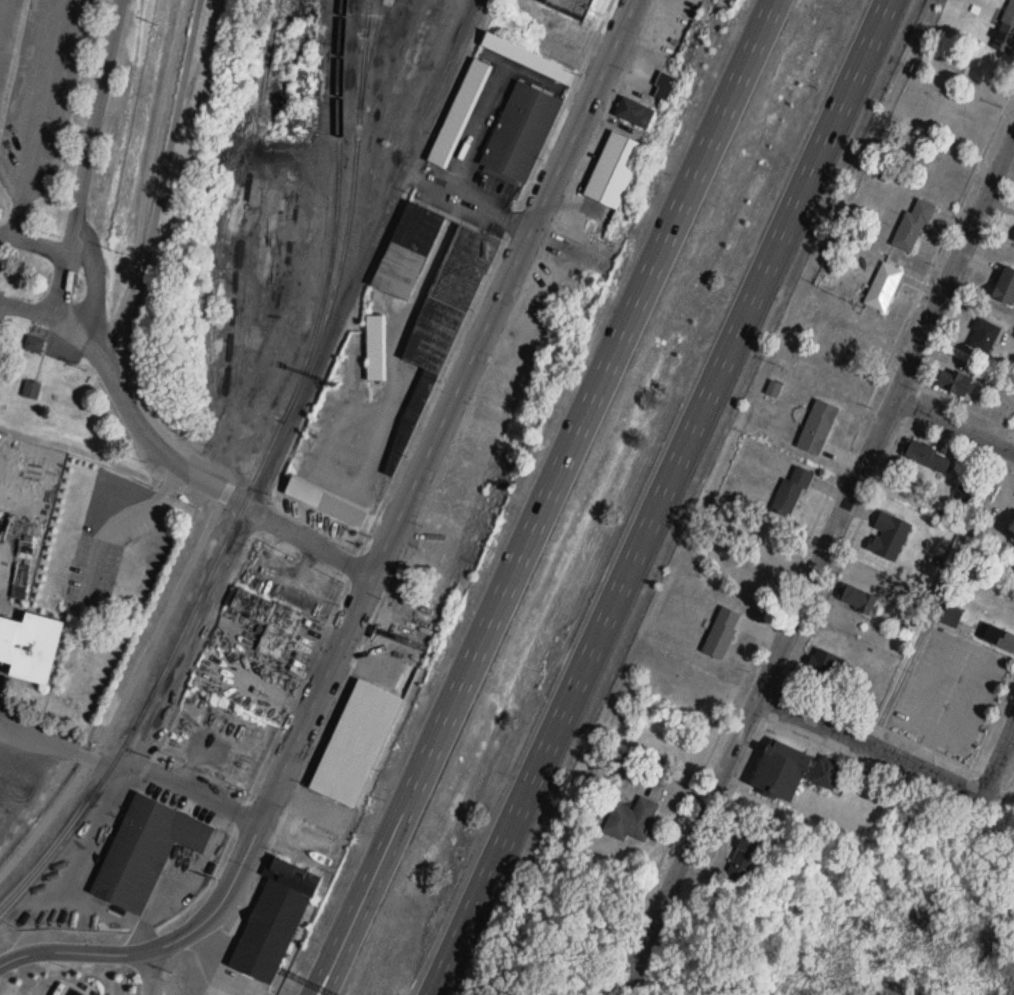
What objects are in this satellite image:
building: (712, 1)
building: (570, 7)
railway: (369, 8)
building: (1006, 30)
railway: (366, 36)
railway: (372, 36)
parking lot: (37, 98)
building: (635, 112)
building: (524, 113)
building: (459, 114)
road: (36, 117)
road: (85, 155)
building: (613, 167)
road: (468, 201)
building: (913, 222)
railway: (348, 239)
building: (1013, 240)
building: (407, 251)
road: (141, 272)
road: (62, 281)
building: (884, 284)
building: (1004, 287)
road: (29, 309)
building: (983, 335)
building: (436, 337)
building: (375, 348)
building: (954, 382)
road: (314, 388)
building: (34, 390)
road: (593, 398)
building: (497, 404)
road: (967, 407)
road: (448, 411)
road: (137, 423)
building: (817, 424)
road: (954, 425)
building: (926, 457)
road: (676, 464)
railway: (255, 483)
building: (790, 488)
building: (325, 502)
building: (461, 507)
road: (842, 511)
road: (127, 525)
building: (888, 537)
road: (308, 541)
road: (938, 595)
building: (855, 599)
building: (268, 622)
building: (721, 630)
building: (999, 638)
building: (34, 643)
building: (820, 668)
road: (127, 691)
road: (872, 743)
road: (62, 746)
road: (1000, 755)
building: (779, 773)
building: (824, 776)
road: (194, 791)
building: (630, 819)
building: (145, 850)
road: (70, 856)
building: (743, 857)
road: (193, 871)
road: (357, 894)
road: (374, 897)
road: (112, 908)
park: (876, 916)
building: (273, 920)
road: (645, 938)
road: (161, 946)
road: (447, 961)
road: (452, 961)
road: (151, 972)
building: (80, 992)

